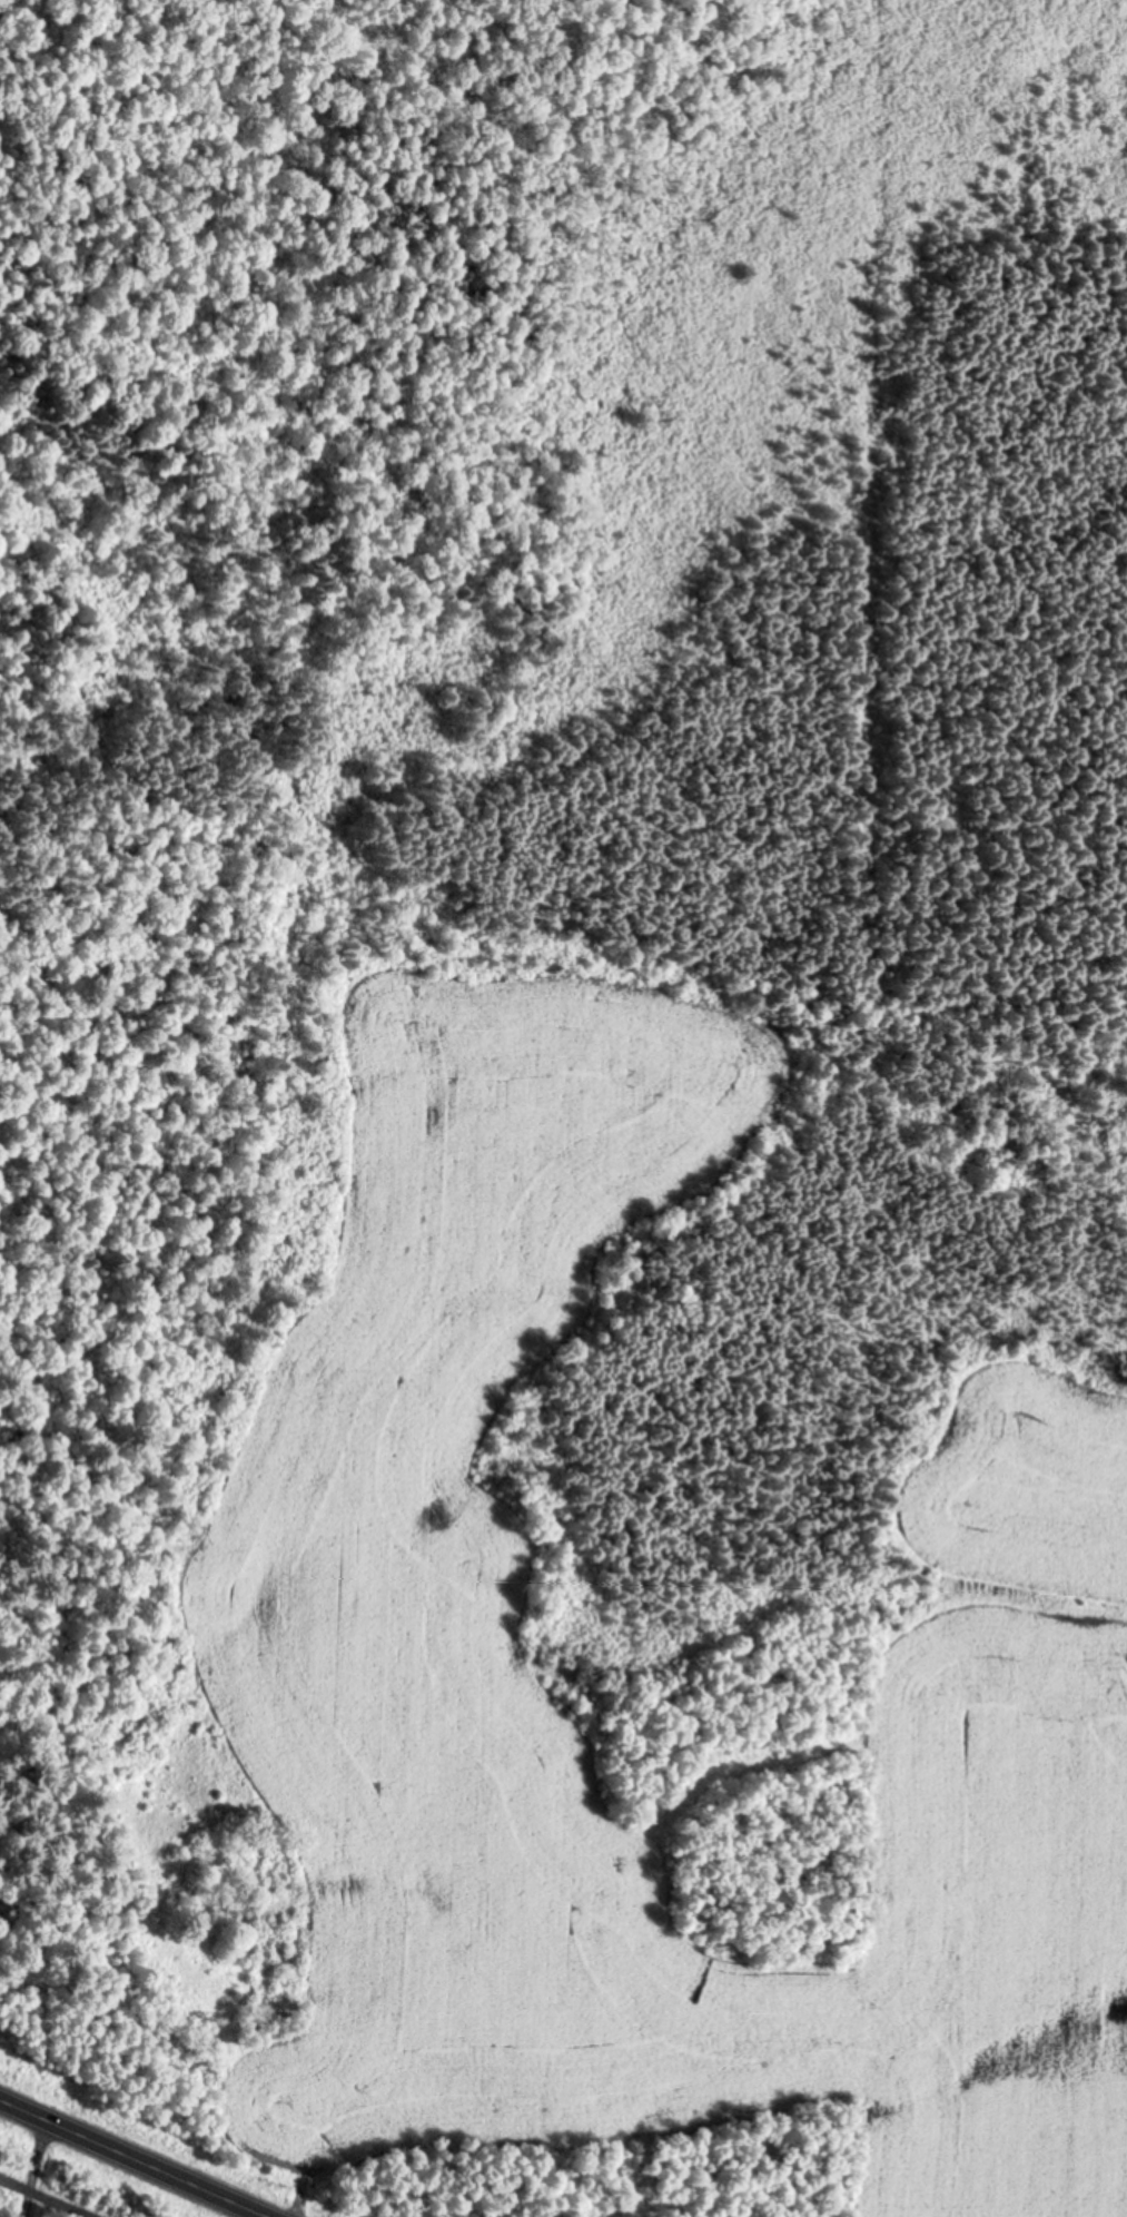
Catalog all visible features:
road: (137, 2157)
road: (52, 2194)

